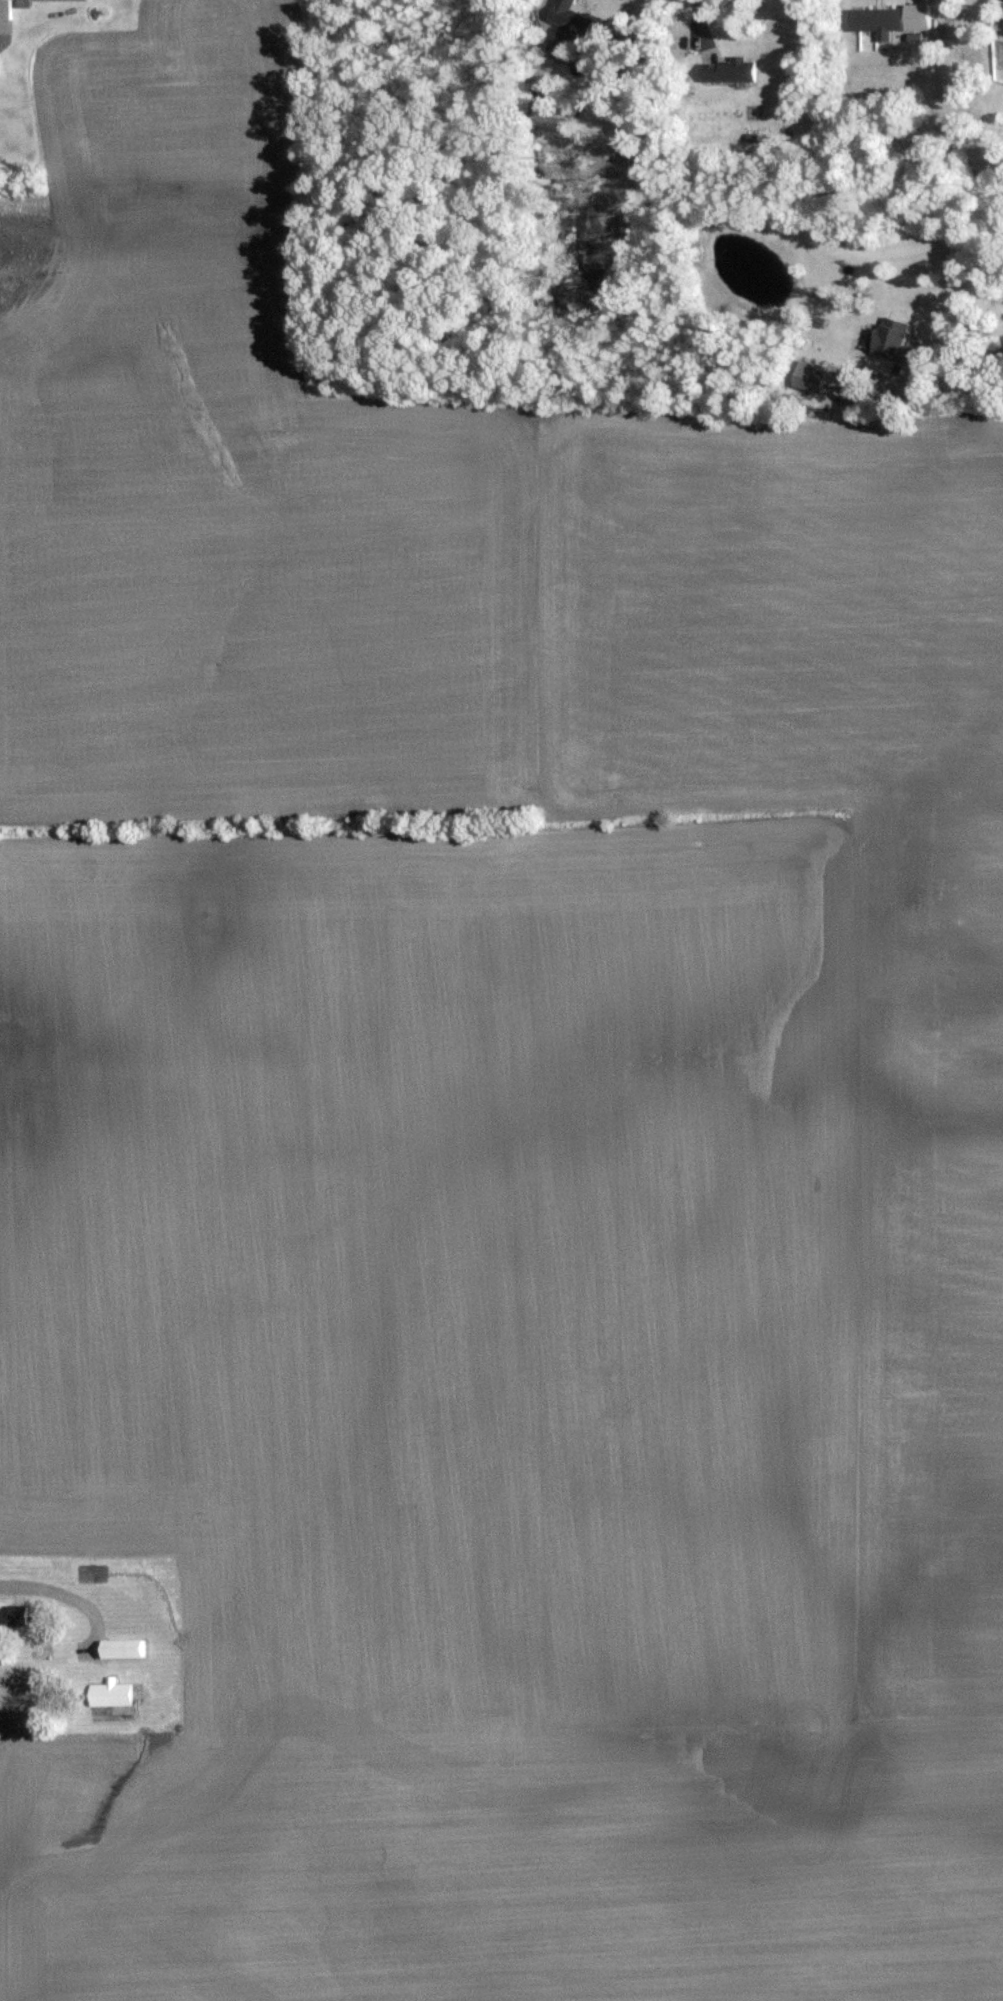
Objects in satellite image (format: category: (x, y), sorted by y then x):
building: (26, 5)
building: (6, 10)
building: (879, 19)
building: (571, 28)
building: (732, 71)
building: (556, 116)
building: (896, 340)
road: (951, 391)
road: (68, 1590)
building: (8, 1620)
building: (125, 1650)
building: (112, 1694)

